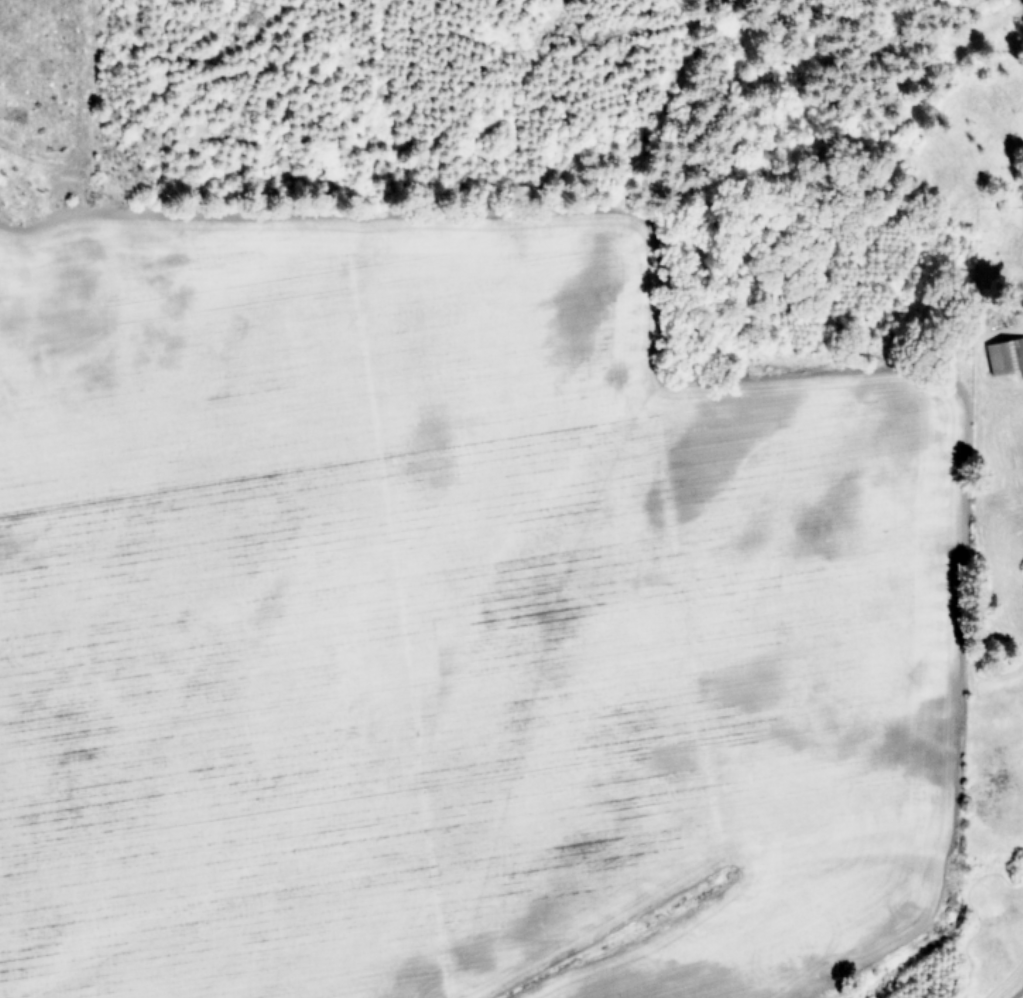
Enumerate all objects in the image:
crop: (431, 621)
road: (1019, 993)

